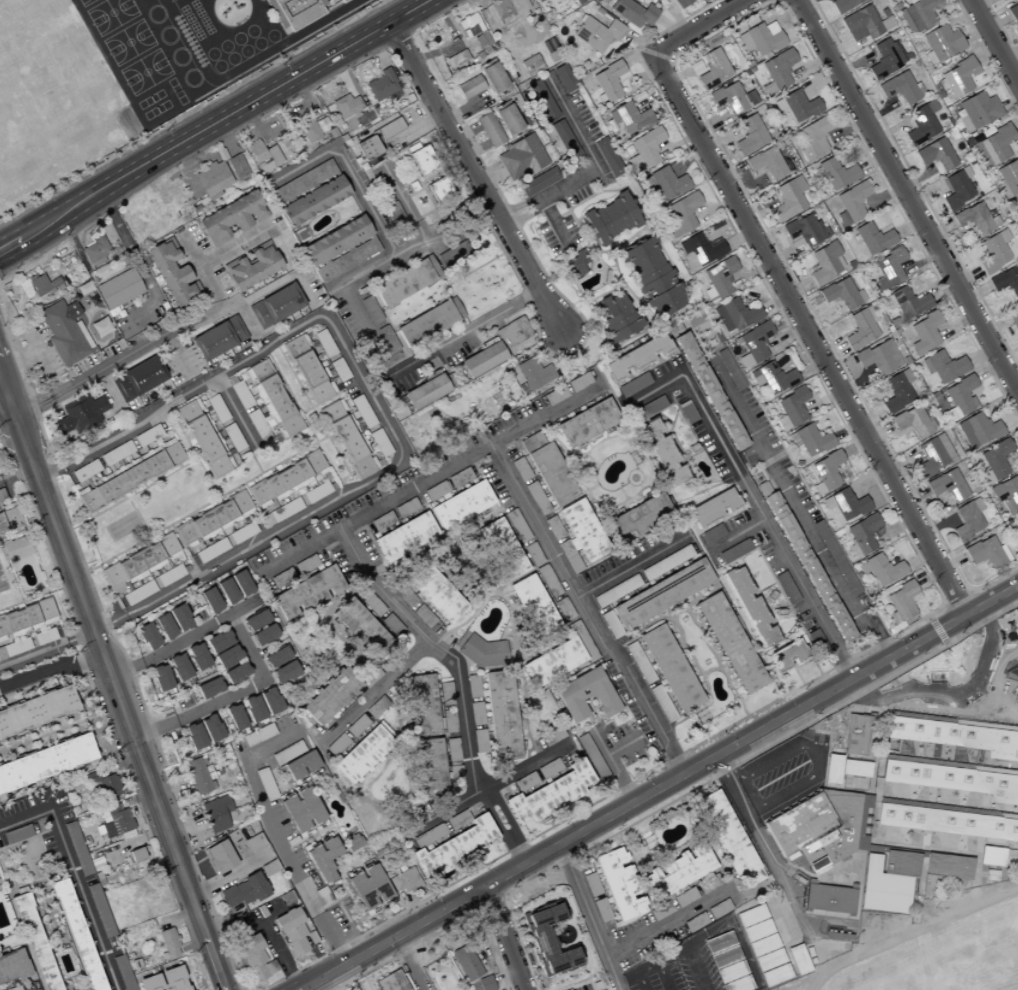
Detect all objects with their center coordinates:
building: (342, 1)
building: (681, 3)
building: (843, 4)
building: (509, 9)
building: (297, 11)
building: (632, 12)
building: (918, 13)
building: (1013, 14)
building: (860, 24)
building: (472, 29)
road: (702, 30)
building: (596, 34)
building: (760, 39)
road: (994, 43)
building: (940, 44)
park: (125, 45)
park: (201, 52)
building: (886, 58)
road: (246, 65)
building: (531, 65)
building: (712, 69)
building: (778, 69)
building: (563, 78)
building: (957, 78)
building: (494, 79)
building: (608, 81)
building: (381, 85)
building: (469, 87)
building: (898, 88)
building: (732, 98)
park: (50, 99)
building: (541, 99)
building: (346, 106)
building: (977, 110)
road: (222, 117)
building: (629, 118)
building: (508, 121)
park: (128, 123)
building: (320, 123)
building: (921, 124)
building: (389, 128)
building: (489, 130)
building: (308, 131)
building: (750, 135)
building: (814, 137)
building: (565, 140)
building: (993, 146)
building: (367, 148)
building: (644, 151)
building: (935, 154)
building: (264, 157)
building: (520, 158)
building: (606, 158)
building: (421, 160)
building: (766, 163)
building: (237, 168)
road: (595, 168)
building: (836, 174)
road: (474, 176)
building: (1009, 176)
building: (212, 179)
building: (538, 182)
building: (303, 183)
building: (666, 183)
building: (957, 189)
building: (438, 191)
road: (401, 195)
road: (907, 198)
building: (788, 199)
building: (314, 201)
road: (368, 202)
building: (851, 203)
building: (1017, 209)
building: (681, 214)
building: (230, 218)
building: (610, 219)
building: (974, 219)
road: (555, 223)
road: (421, 230)
building: (804, 231)
road: (445, 232)
building: (873, 238)
building: (335, 241)
road: (9, 243)
building: (700, 249)
building: (95, 250)
building: (993, 252)
building: (452, 254)
road: (135, 260)
building: (824, 263)
building: (574, 265)
building: (647, 267)
building: (252, 268)
building: (889, 269)
building: (171, 273)
building: (718, 279)
building: (405, 281)
building: (1005, 281)
building: (42, 284)
building: (118, 289)
building: (841, 295)
building: (666, 301)
building: (907, 302)
building: (275, 306)
building: (370, 310)
building: (735, 315)
building: (617, 318)
building: (429, 322)
road: (368, 326)
building: (100, 327)
building: (861, 328)
building: (1016, 329)
building: (63, 332)
building: (511, 333)
building: (924, 333)
road: (461, 334)
building: (218, 338)
road: (160, 340)
building: (387, 341)
road: (812, 341)
building: (323, 343)
building: (754, 343)
road: (178, 353)
building: (636, 358)
building: (878, 358)
building: (481, 360)
building: (783, 366)
building: (943, 366)
building: (338, 370)
building: (309, 371)
building: (533, 375)
building: (138, 378)
building: (772, 378)
building: (578, 382)
building: (632, 384)
road: (108, 390)
building: (710, 391)
building: (897, 391)
building: (425, 392)
road: (371, 394)
building: (554, 395)
building: (959, 397)
road: (4, 398)
building: (264, 401)
building: (216, 408)
building: (791, 408)
road: (235, 410)
building: (641, 412)
building: (79, 415)
building: (911, 422)
building: (586, 423)
building: (977, 430)
building: (232, 437)
building: (204, 438)
building: (348, 440)
building: (810, 440)
building: (379, 443)
building: (662, 453)
building: (934, 455)
building: (994, 461)
building: (89, 468)
building: (546, 468)
building: (520, 469)
road: (49, 470)
road: (16, 471)
building: (826, 472)
building: (131, 476)
building: (459, 477)
building: (285, 480)
road: (430, 480)
building: (946, 485)
building: (315, 492)
building: (2, 494)
building: (1006, 494)
road: (753, 497)
building: (536, 499)
road: (798, 502)
building: (845, 504)
building: (460, 505)
building: (711, 508)
building: (282, 511)
building: (10, 518)
building: (636, 518)
building: (212, 520)
building: (967, 520)
building: (1016, 520)
building: (516, 526)
building: (553, 528)
road: (18, 530)
building: (582, 530)
road: (734, 532)
building: (712, 534)
building: (862, 535)
building: (404, 537)
building: (1017, 537)
building: (225, 542)
building: (18, 548)
building: (501, 549)
building: (985, 553)
building: (569, 557)
building: (665, 562)
building: (139, 563)
building: (840, 565)
building: (306, 566)
building: (808, 567)
road: (629, 569)
building: (880, 569)
road: (11, 572)
building: (286, 574)
building: (169, 575)
building: (233, 587)
building: (785, 588)
building: (138, 592)
building: (307, 593)
building: (435, 593)
road: (29, 598)
building: (654, 598)
building: (209, 601)
building: (901, 602)
building: (532, 605)
building: (748, 607)
road: (585, 613)
building: (422, 615)
building: (179, 617)
building: (28, 618)
building: (255, 620)
road: (109, 623)
building: (164, 626)
building: (359, 626)
building: (263, 635)
building: (45, 636)
building: (147, 636)
building: (218, 641)
building: (729, 643)
building: (15, 647)
road: (1002, 647)
road: (46, 649)
building: (479, 651)
road: (250, 652)
building: (786, 656)
building: (197, 657)
building: (227, 657)
building: (275, 657)
building: (559, 657)
building: (178, 667)
road: (50, 668)
building: (641, 668)
building: (670, 668)
building: (235, 673)
building: (285, 673)
building: (1011, 674)
building: (160, 677)
road: (112, 682)
road: (459, 682)
parking lot: (943, 682)
building: (1009, 683)
building: (472, 686)
building: (1006, 686)
building: (208, 688)
road: (374, 691)
building: (445, 694)
building: (1013, 694)
building: (584, 695)
building: (1016, 695)
building: (330, 696)
road: (950, 699)
building: (270, 701)
building: (421, 705)
building: (253, 708)
building: (36, 710)
road: (1005, 710)
building: (1005, 711)
building: (475, 713)
road: (101, 714)
building: (234, 717)
building: (500, 718)
road: (952, 720)
building: (448, 721)
building: (954, 721)
building: (210, 728)
road: (50, 732)
building: (258, 735)
building: (855, 735)
building: (952, 735)
building: (194, 736)
building: (479, 741)
building: (336, 745)
building: (364, 753)
road: (813, 753)
building: (590, 756)
building: (279, 757)
building: (44, 762)
road: (120, 764)
road: (949, 764)
building: (955, 764)
building: (300, 765)
building: (429, 768)
building: (548, 768)
building: (855, 768)
building: (832, 769)
building: (198, 776)
building: (93, 777)
road: (641, 777)
parking lot: (779, 777)
building: (950, 778)
building: (454, 780)
building: (524, 782)
road: (931, 784)
building: (77, 785)
building: (111, 787)
road: (660, 787)
road: (489, 788)
road: (984, 790)
building: (549, 794)
road: (81, 798)
building: (869, 799)
building: (911, 803)
building: (77, 807)
road: (946, 807)
building: (301, 809)
road: (144, 811)
building: (216, 813)
building: (117, 821)
building: (946, 821)
building: (841, 822)
building: (799, 824)
building: (440, 829)
road: (759, 831)
building: (19, 833)
road: (273, 836)
road: (28, 837)
building: (726, 838)
building: (825, 838)
road: (134, 839)
building: (253, 842)
building: (353, 843)
road: (998, 843)
building: (79, 848)
building: (454, 848)
road: (924, 849)
building: (932, 849)
road: (44, 853)
building: (95, 855)
building: (136, 855)
building: (992, 855)
building: (1013, 856)
building: (219, 857)
building: (323, 859)
building: (901, 863)
building: (818, 864)
building: (948, 866)
building: (679, 870)
building: (991, 872)
road: (52, 873)
road: (72, 874)
building: (991, 878)
building: (100, 879)
building: (809, 880)
building: (403, 881)
building: (618, 884)
building: (852, 886)
building: (368, 887)
building: (243, 891)
road: (39, 893)
building: (684, 897)
building: (829, 898)
building: (277, 904)
building: (718, 909)
building: (101, 910)
building: (660, 910)
building: (806, 910)
road: (48, 912)
building: (751, 915)
building: (849, 915)
road: (175, 916)
road: (589, 917)
road: (667, 921)
building: (694, 922)
building: (757, 930)
building: (291, 932)
road: (56, 934)
building: (79, 935)
road: (504, 938)
building: (35, 941)
building: (548, 941)
building: (169, 943)
building: (763, 944)
building: (721, 949)
track: (944, 956)
building: (254, 958)
park: (715, 958)
building: (769, 959)
building: (798, 959)
building: (136, 963)
road: (408, 963)
building: (465, 963)
building: (15, 966)
road: (188, 971)
building: (125, 973)
park: (654, 974)
building: (775, 975)
building: (732, 977)
building: (173, 978)
building: (391, 982)
road: (72, 983)
building: (149, 983)
building: (485, 983)
building: (16, 988)
road: (83, 988)

